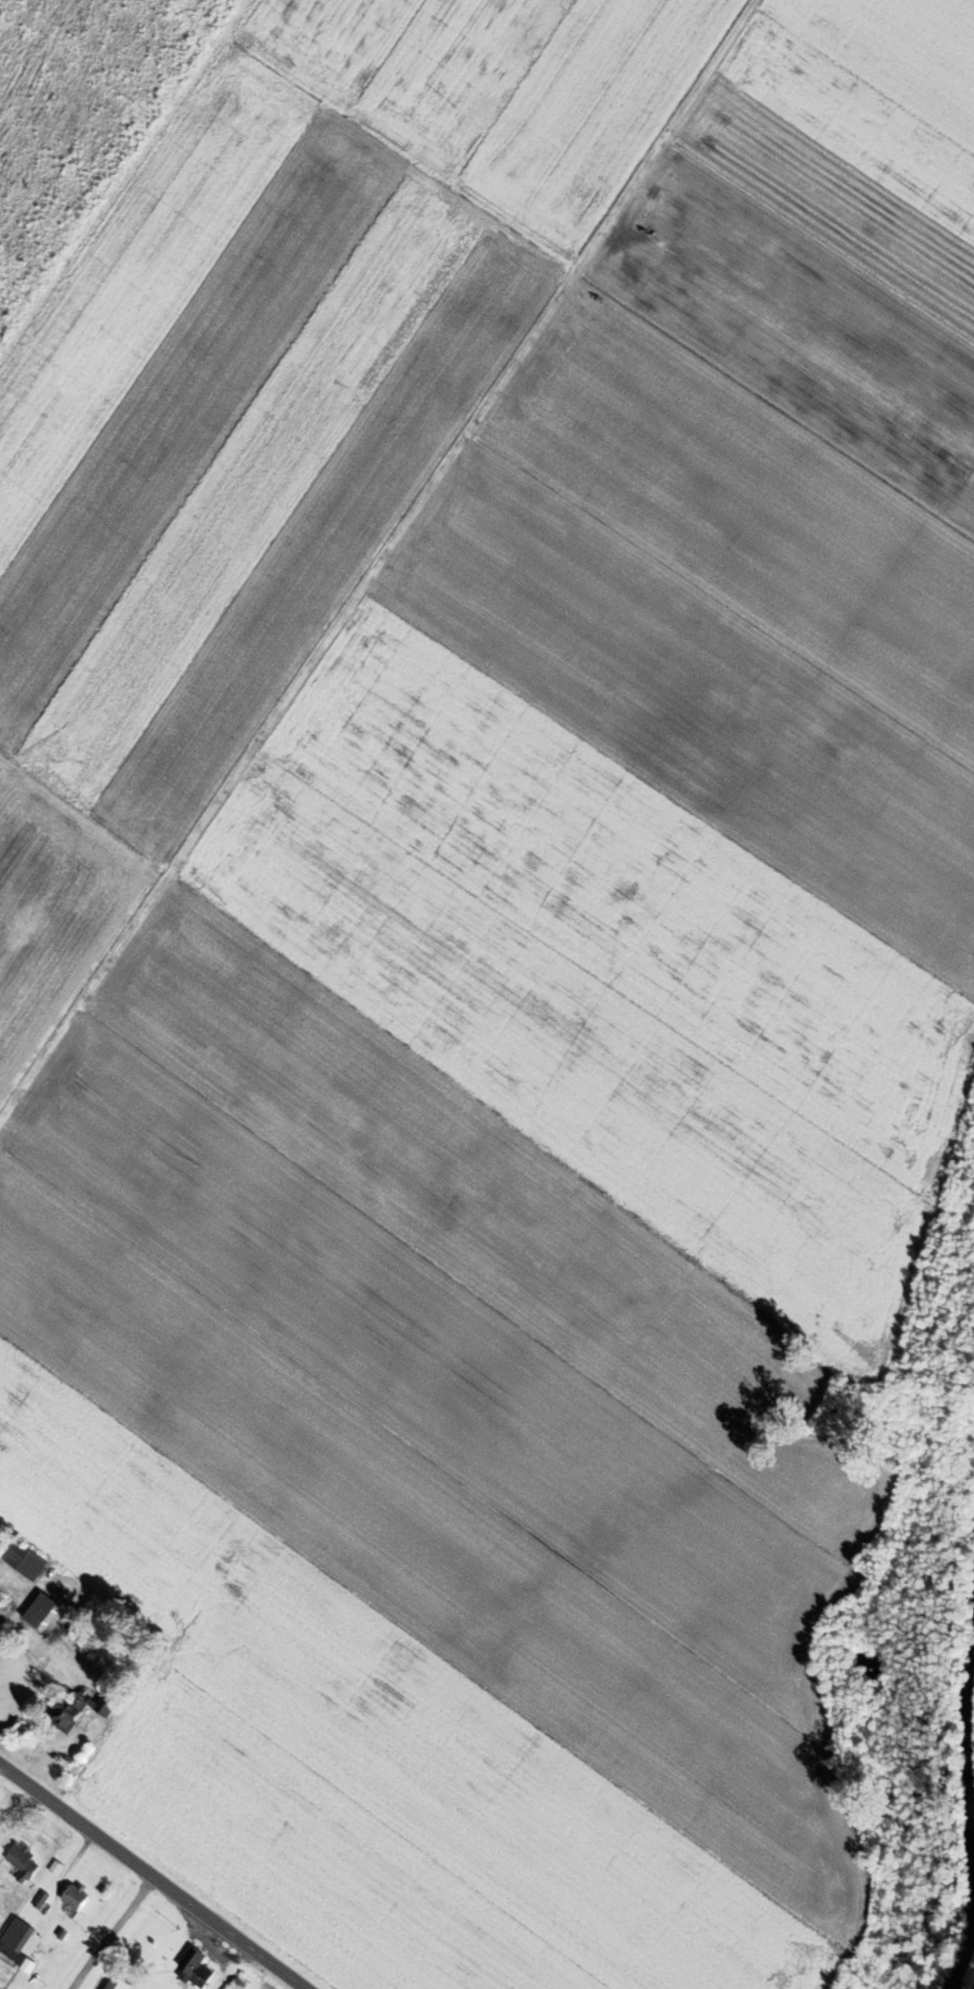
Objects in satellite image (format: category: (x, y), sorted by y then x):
road: (381, 565)
building: (25, 1560)
building: (5, 1605)
building: (40, 1611)
building: (79, 1710)
building: (23, 1861)
road: (149, 1880)
building: (75, 1897)
building: (41, 1900)
road: (110, 1935)
building: (16, 1941)
building: (195, 1969)
road: (971, 1981)
building: (117, 1984)
building: (237, 1984)

